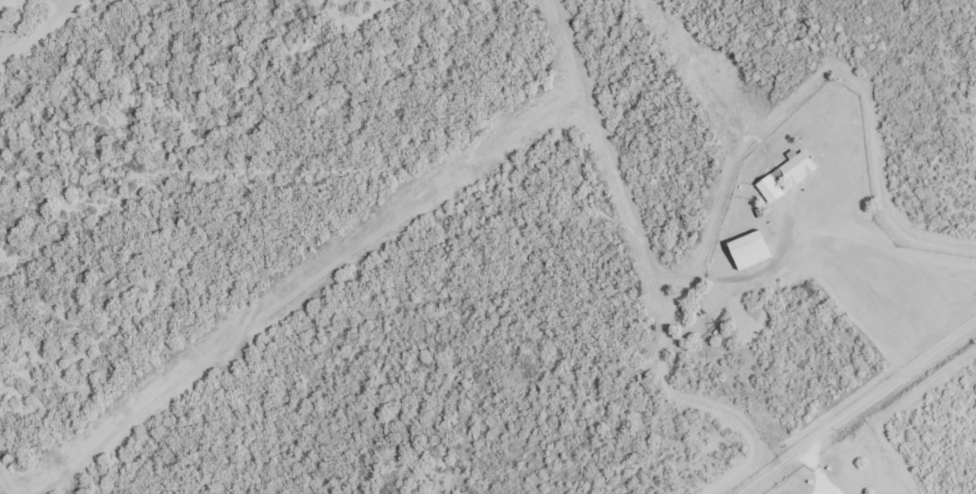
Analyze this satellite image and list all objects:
building: (784, 177)
building: (743, 246)
road: (859, 411)

